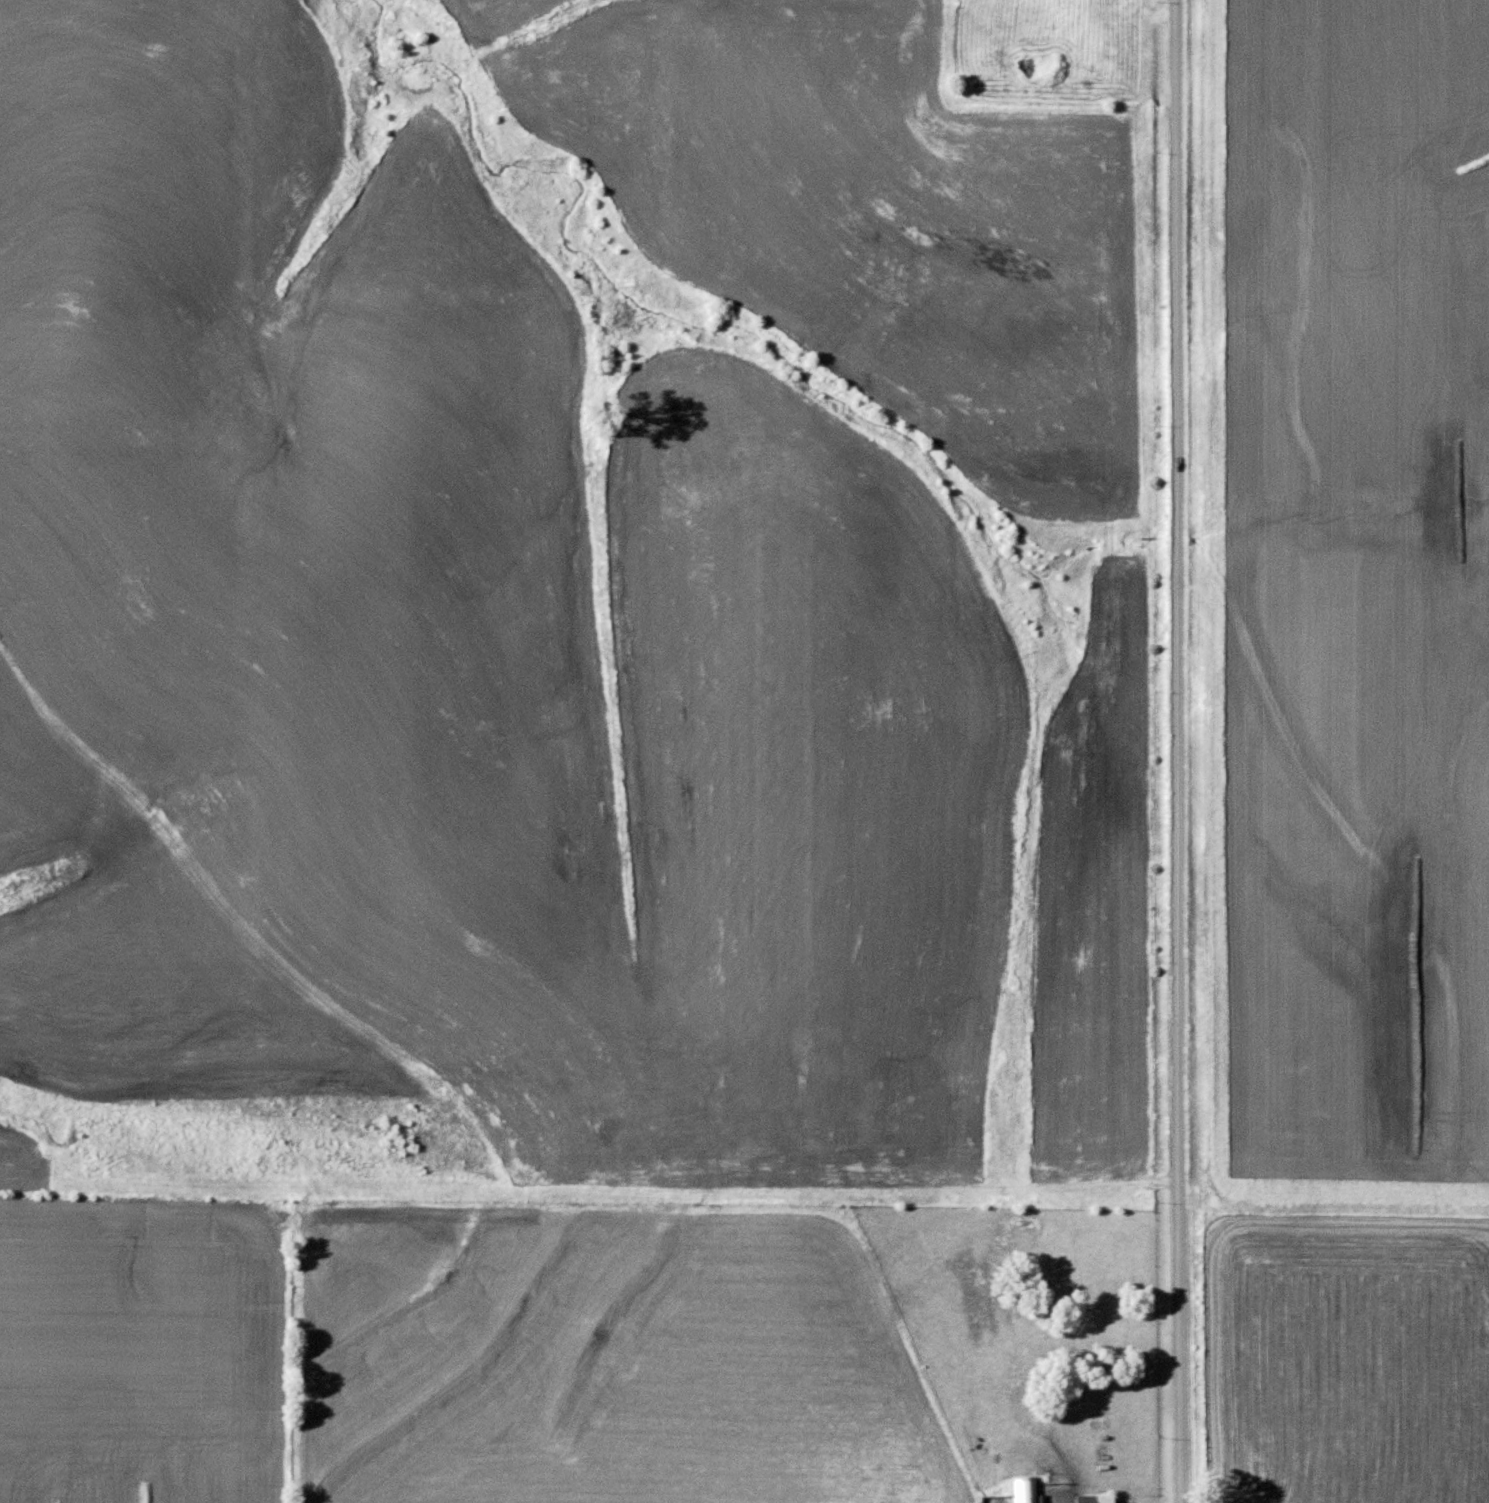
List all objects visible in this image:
road: (1181, 751)
building: (1024, 1489)
building: (1092, 1498)

